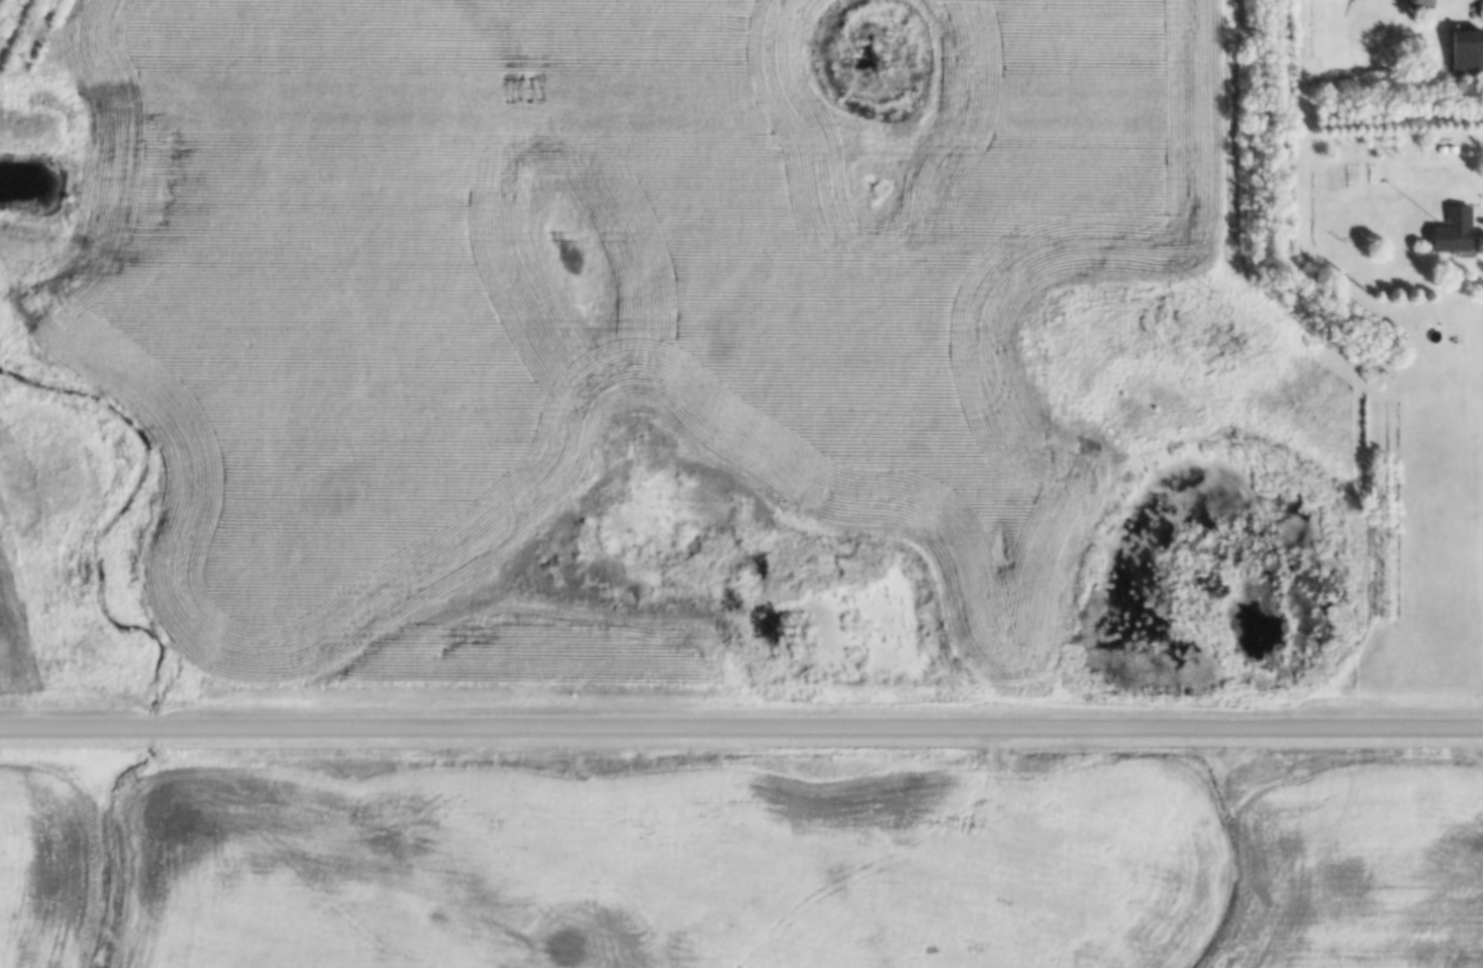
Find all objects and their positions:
building: (1418, 2)
building: (1480, 8)
building: (1464, 52)
building: (1452, 230)
silo: (1452, 230)
power tower: (1201, 291)
road: (741, 733)

